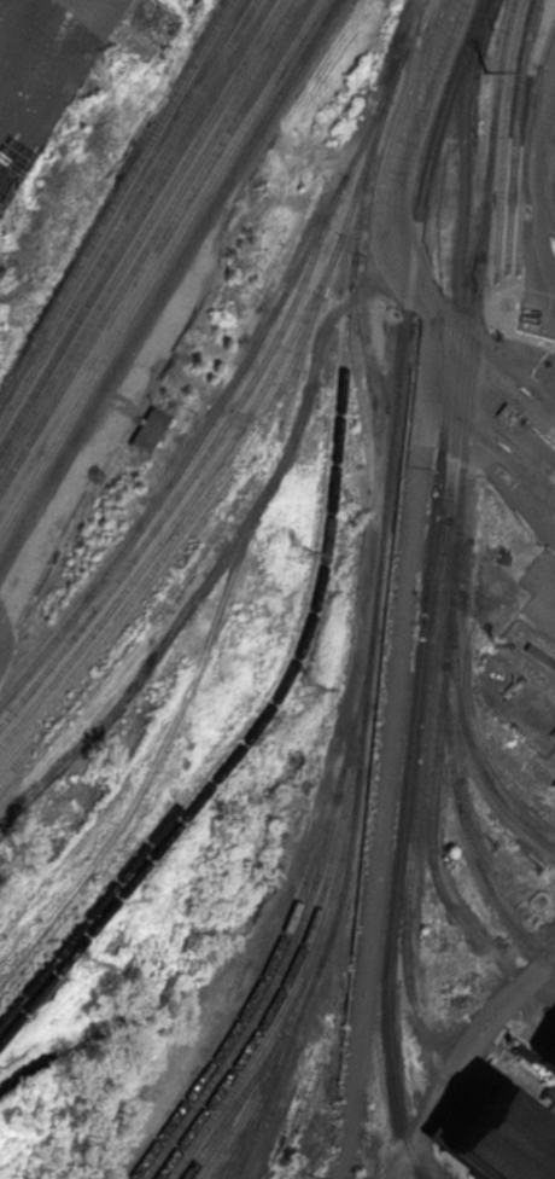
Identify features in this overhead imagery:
power tower: (485, 72)
railway: (448, 101)
road: (408, 129)
railway: (515, 133)
railway: (503, 135)
railway: (526, 140)
railway: (537, 140)
railway: (116, 202)
railway: (128, 215)
railway: (135, 226)
railway: (141, 236)
railway: (148, 245)
road: (541, 259)
railway: (160, 267)
road: (416, 286)
road: (456, 330)
road: (445, 360)
road: (430, 383)
railway: (227, 393)
road: (518, 397)
building: (148, 431)
road: (515, 440)
railway: (440, 463)
railway: (198, 466)
railway: (244, 486)
railway: (188, 503)
railway: (458, 527)
power tower: (296, 552)
railway: (175, 557)
railway: (323, 569)
railway: (145, 580)
railway: (433, 645)
power tower: (304, 690)
railway: (366, 702)
railway: (257, 708)
railway: (467, 738)
road: (382, 824)
railway: (466, 842)
railway: (286, 925)
railway: (296, 960)
power tower: (87, 965)
railway: (271, 988)
railway: (294, 988)
railway: (390, 1055)
railway: (261, 1068)
building: (547, 1068)
railway: (241, 1108)
railway: (257, 1109)
railway: (236, 1138)
building: (498, 1142)
railway: (247, 1150)
power tower: (296, 1155)

